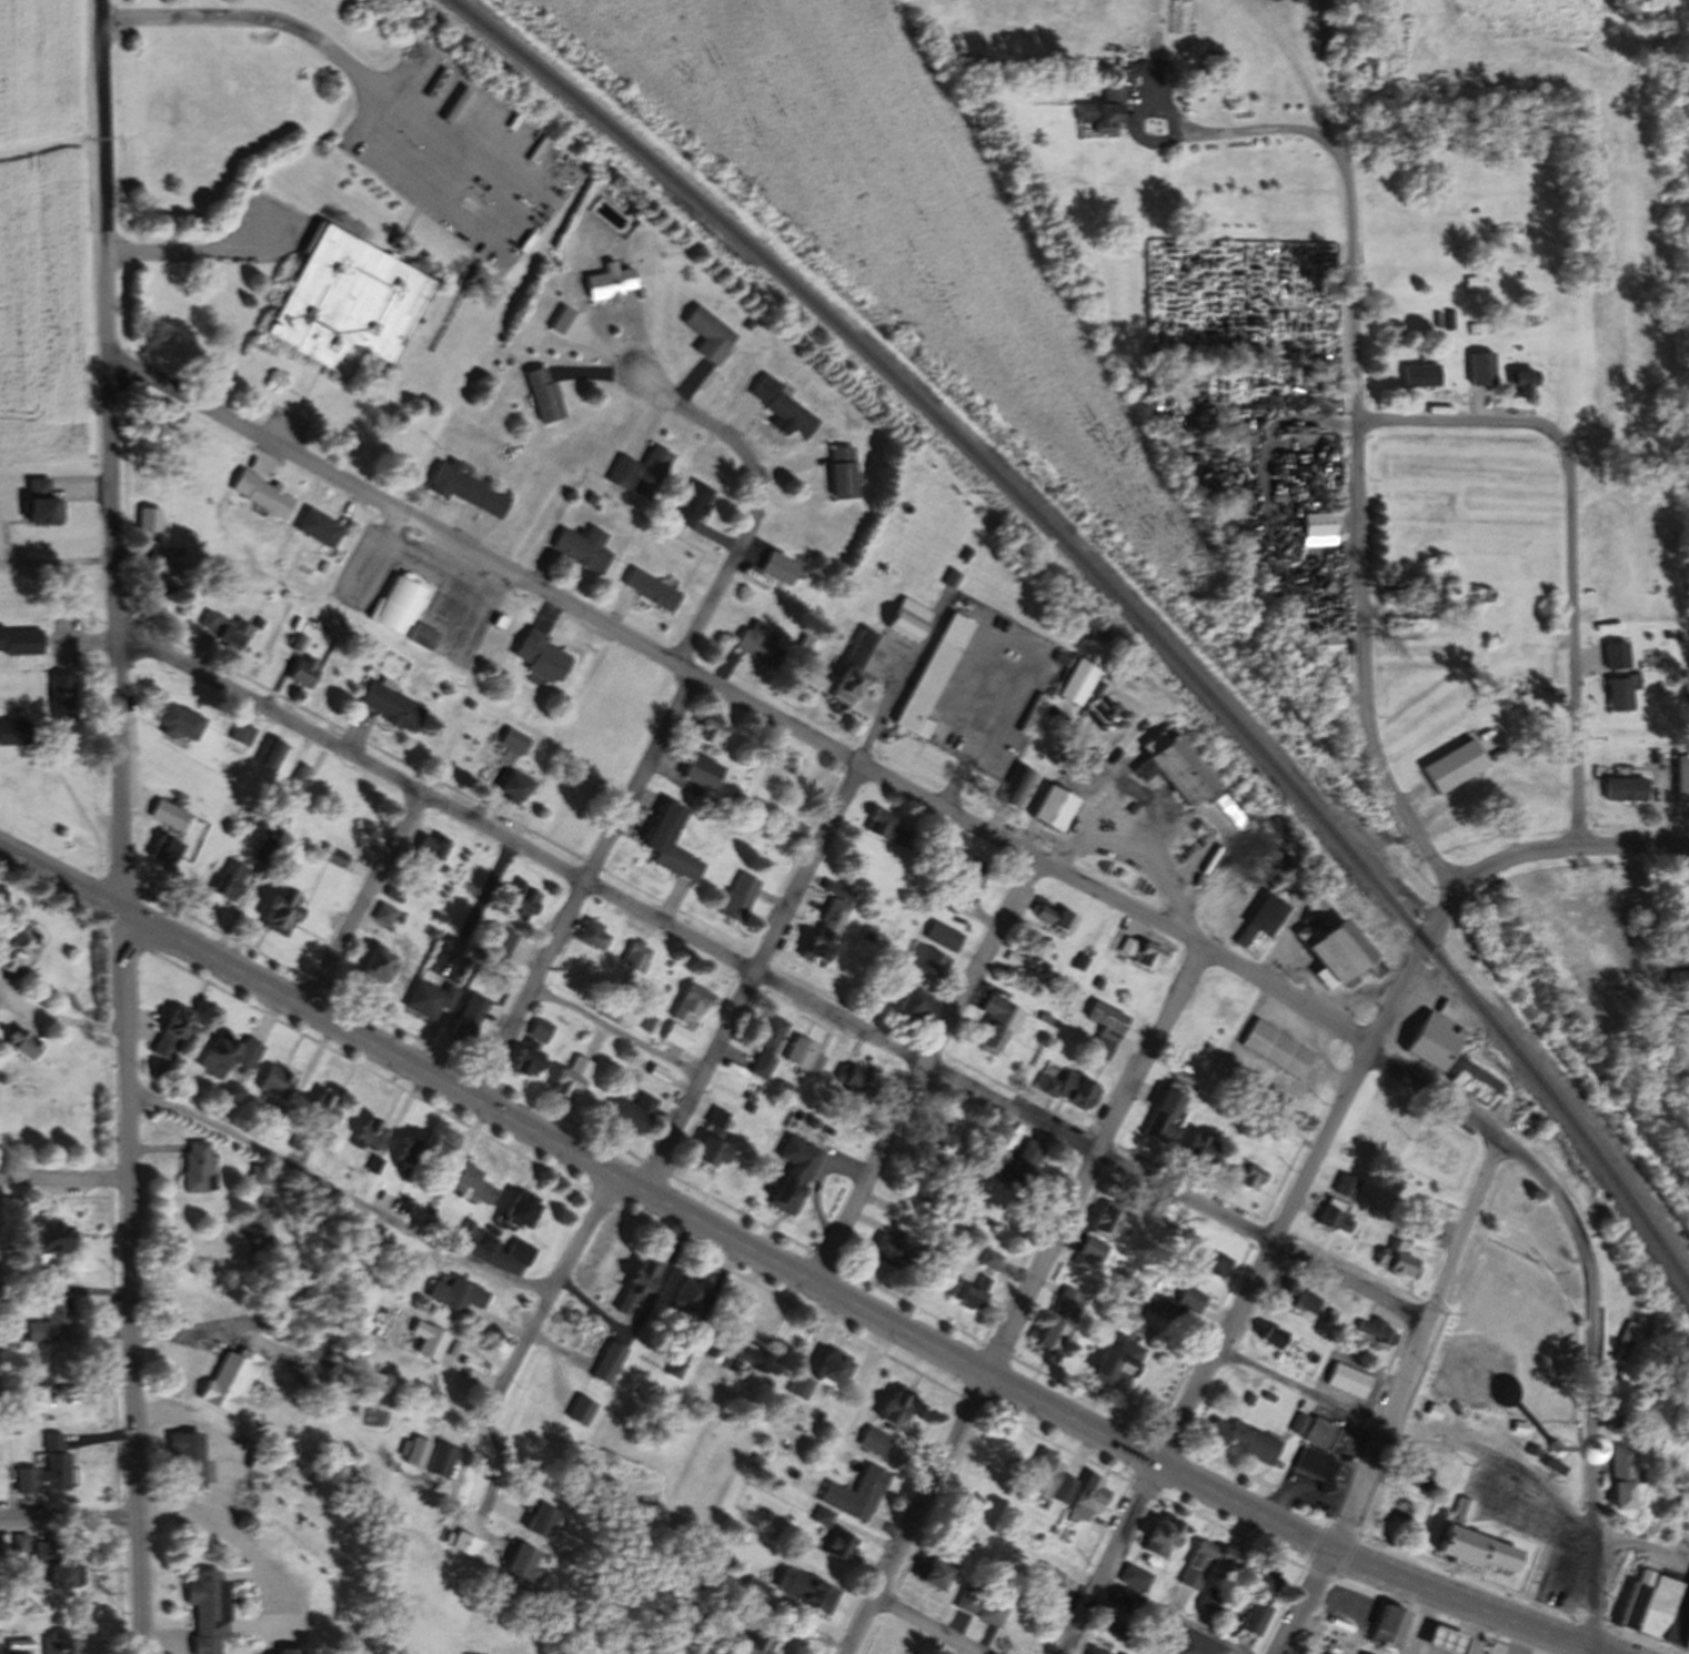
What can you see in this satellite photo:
road: (341, 61)
building: (1367, 70)
building: (1104, 111)
road: (1274, 133)
building: (636, 214)
road: (214, 256)
building: (607, 283)
building: (1475, 283)
building: (640, 293)
building: (345, 302)
building: (564, 323)
building: (747, 324)
building: (707, 334)
building: (1481, 367)
building: (1526, 385)
building: (542, 394)
building: (780, 405)
road: (1471, 422)
parking lot: (285, 428)
road: (109, 455)
building: (620, 472)
building: (649, 472)
building: (841, 473)
building: (465, 490)
building: (262, 494)
road: (753, 497)
building: (691, 504)
building: (43, 505)
building: (149, 520)
building: (1318, 524)
building: (319, 528)
road: (1357, 545)
building: (583, 548)
road: (56, 561)
building: (323, 567)
building: (778, 568)
building: (165, 575)
building: (949, 579)
building: (652, 591)
building: (1408, 594)
building: (1484, 595)
railway: (1119, 601)
building: (398, 604)
building: (906, 619)
building: (224, 628)
building: (422, 636)
building: (20, 641)
road: (82, 641)
building: (1324, 643)
building: (757, 646)
road: (1567, 652)
building: (540, 656)
building: (1059, 660)
building: (304, 672)
building: (931, 678)
building: (848, 684)
building: (1076, 684)
building: (1617, 694)
building: (61, 697)
building: (390, 706)
building: (1032, 715)
building: (179, 723)
building: (708, 729)
building: (13, 730)
building: (241, 733)
road: (806, 736)
building: (270, 754)
building: (1454, 766)
building: (702, 773)
building: (1186, 774)
building: (296, 780)
road: (952, 785)
building: (515, 787)
building: (1016, 787)
building: (1621, 789)
road: (1142, 790)
building: (1054, 809)
building: (163, 813)
building: (664, 828)
building: (887, 829)
building: (793, 830)
building: (432, 845)
building: (264, 850)
building: (164, 851)
road: (1120, 853)
building: (333, 858)
building: (965, 867)
road: (1480, 870)
building: (228, 880)
road: (581, 884)
building: (948, 897)
road: (361, 898)
building: (738, 898)
building: (523, 905)
building: (281, 911)
building: (383, 915)
building: (1054, 918)
building: (827, 924)
building: (1259, 925)
building: (592, 935)
building: (943, 936)
building: (499, 941)
building: (1335, 946)
building: (16, 947)
building: (636, 957)
building: (1148, 957)
building: (926, 960)
building: (1080, 962)
building: (376, 967)
road: (747, 975)
road: (766, 978)
building: (1677, 980)
building: (1098, 982)
building: (430, 998)
road: (1353, 1001)
building: (692, 1002)
building: (914, 1004)
building: (468, 1018)
building: (996, 1023)
building: (1106, 1029)
road: (614, 1030)
building: (170, 1033)
building: (675, 1036)
road: (1234, 1038)
building: (19, 1043)
building: (766, 1046)
building: (532, 1048)
building: (1276, 1050)
building: (227, 1057)
road: (919, 1067)
building: (657, 1075)
building: (572, 1078)
building: (854, 1079)
building: (1246, 1080)
building: (273, 1083)
building: (1472, 1085)
building: (1067, 1087)
building: (321, 1109)
building: (632, 1113)
building: (1162, 1118)
building: (938, 1134)
building: (368, 1136)
building: (712, 1143)
building: (1199, 1150)
building: (408, 1156)
road: (1092, 1158)
building: (194, 1167)
building: (1024, 1171)
building: (1246, 1174)
building: (255, 1176)
building: (793, 1176)
road: (62, 1180)
building: (461, 1183)
building: (1344, 1186)
road: (1547, 1188)
road: (335, 1193)
building: (16, 1206)
building: (504, 1210)
building: (520, 1211)
building: (1422, 1217)
building: (1333, 1219)
building: (1106, 1221)
building: (1092, 1224)
building: (462, 1230)
building: (51, 1236)
building: (480, 1243)
building: (892, 1248)
building: (1092, 1250)
building: (511, 1255)
road: (1263, 1255)
building: (354, 1259)
building: (989, 1260)
building: (1393, 1260)
building: (1196, 1263)
road: (793, 1270)
building: (643, 1281)
road: (128, 1282)
building: (625, 1283)
building: (973, 1283)
building: (445, 1293)
building: (968, 1293)
building: (687, 1294)
building: (952, 1294)
building: (1189, 1300)
building: (1293, 1301)
building: (51, 1320)
building: (1058, 1322)
building: (1357, 1328)
building: (1374, 1331)
building: (1623, 1339)
building: (1267, 1341)
road: (522, 1343)
road: (1410, 1344)
building: (422, 1345)
building: (711, 1348)
building: (745, 1358)
building: (1100, 1359)
building: (60, 1365)
building: (601, 1365)
building: (831, 1366)
building: (812, 1368)
building: (675, 1369)
building: (225, 1379)
park: (1481, 1379)
building: (1345, 1380)
building: (797, 1385)
building: (787, 1386)
road: (1295, 1389)
building: (894, 1406)
building: (878, 1410)
building: (571, 1412)
building: (1298, 1430)
building: (1207, 1431)
building: (872, 1440)
building: (861, 1442)
building: (1245, 1446)
water tower: (1551, 1446)
road: (1591, 1450)
building: (431, 1454)
building: (185, 1455)
road: (1492, 1455)
building: (1313, 1465)
building: (46, 1473)
building: (1044, 1473)
building: (1623, 1475)
building: (1063, 1489)
building: (840, 1495)
building: (1087, 1499)
road: (913, 1513)
building: (542, 1521)
road: (158, 1524)
building: (1159, 1536)
building: (462, 1543)
building: (1474, 1543)
building: (837, 1545)
road: (1640, 1545)
parking lot: (1678, 1545)
building: (43, 1550)
road: (1104, 1557)
building: (522, 1561)
building: (1196, 1564)
building: (1224, 1564)
building: (929, 1572)
building: (61, 1574)
building: (1134, 1577)
building: (1045, 1581)
road: (1546, 1581)
building: (802, 1589)
building: (1257, 1598)
building: (1637, 1598)
building: (1209, 1600)
building: (964, 1601)
road: (1300, 1602)
building: (676, 1603)
building: (1347, 1605)
building: (202, 1608)
building: (991, 1610)
building: (1665, 1613)
building: (1117, 1615)
road: (1169, 1615)
road: (1419, 1623)
building: (1388, 1626)
road: (918, 1632)
building: (1445, 1640)
building: (1686, 1640)
building: (60, 1644)
building: (752, 1644)
building: (1195, 1644)
building: (1349, 1647)
building: (285, 1650)
building: (1092, 1651)
road: (1595, 1652)
building: (1361, 1653)

